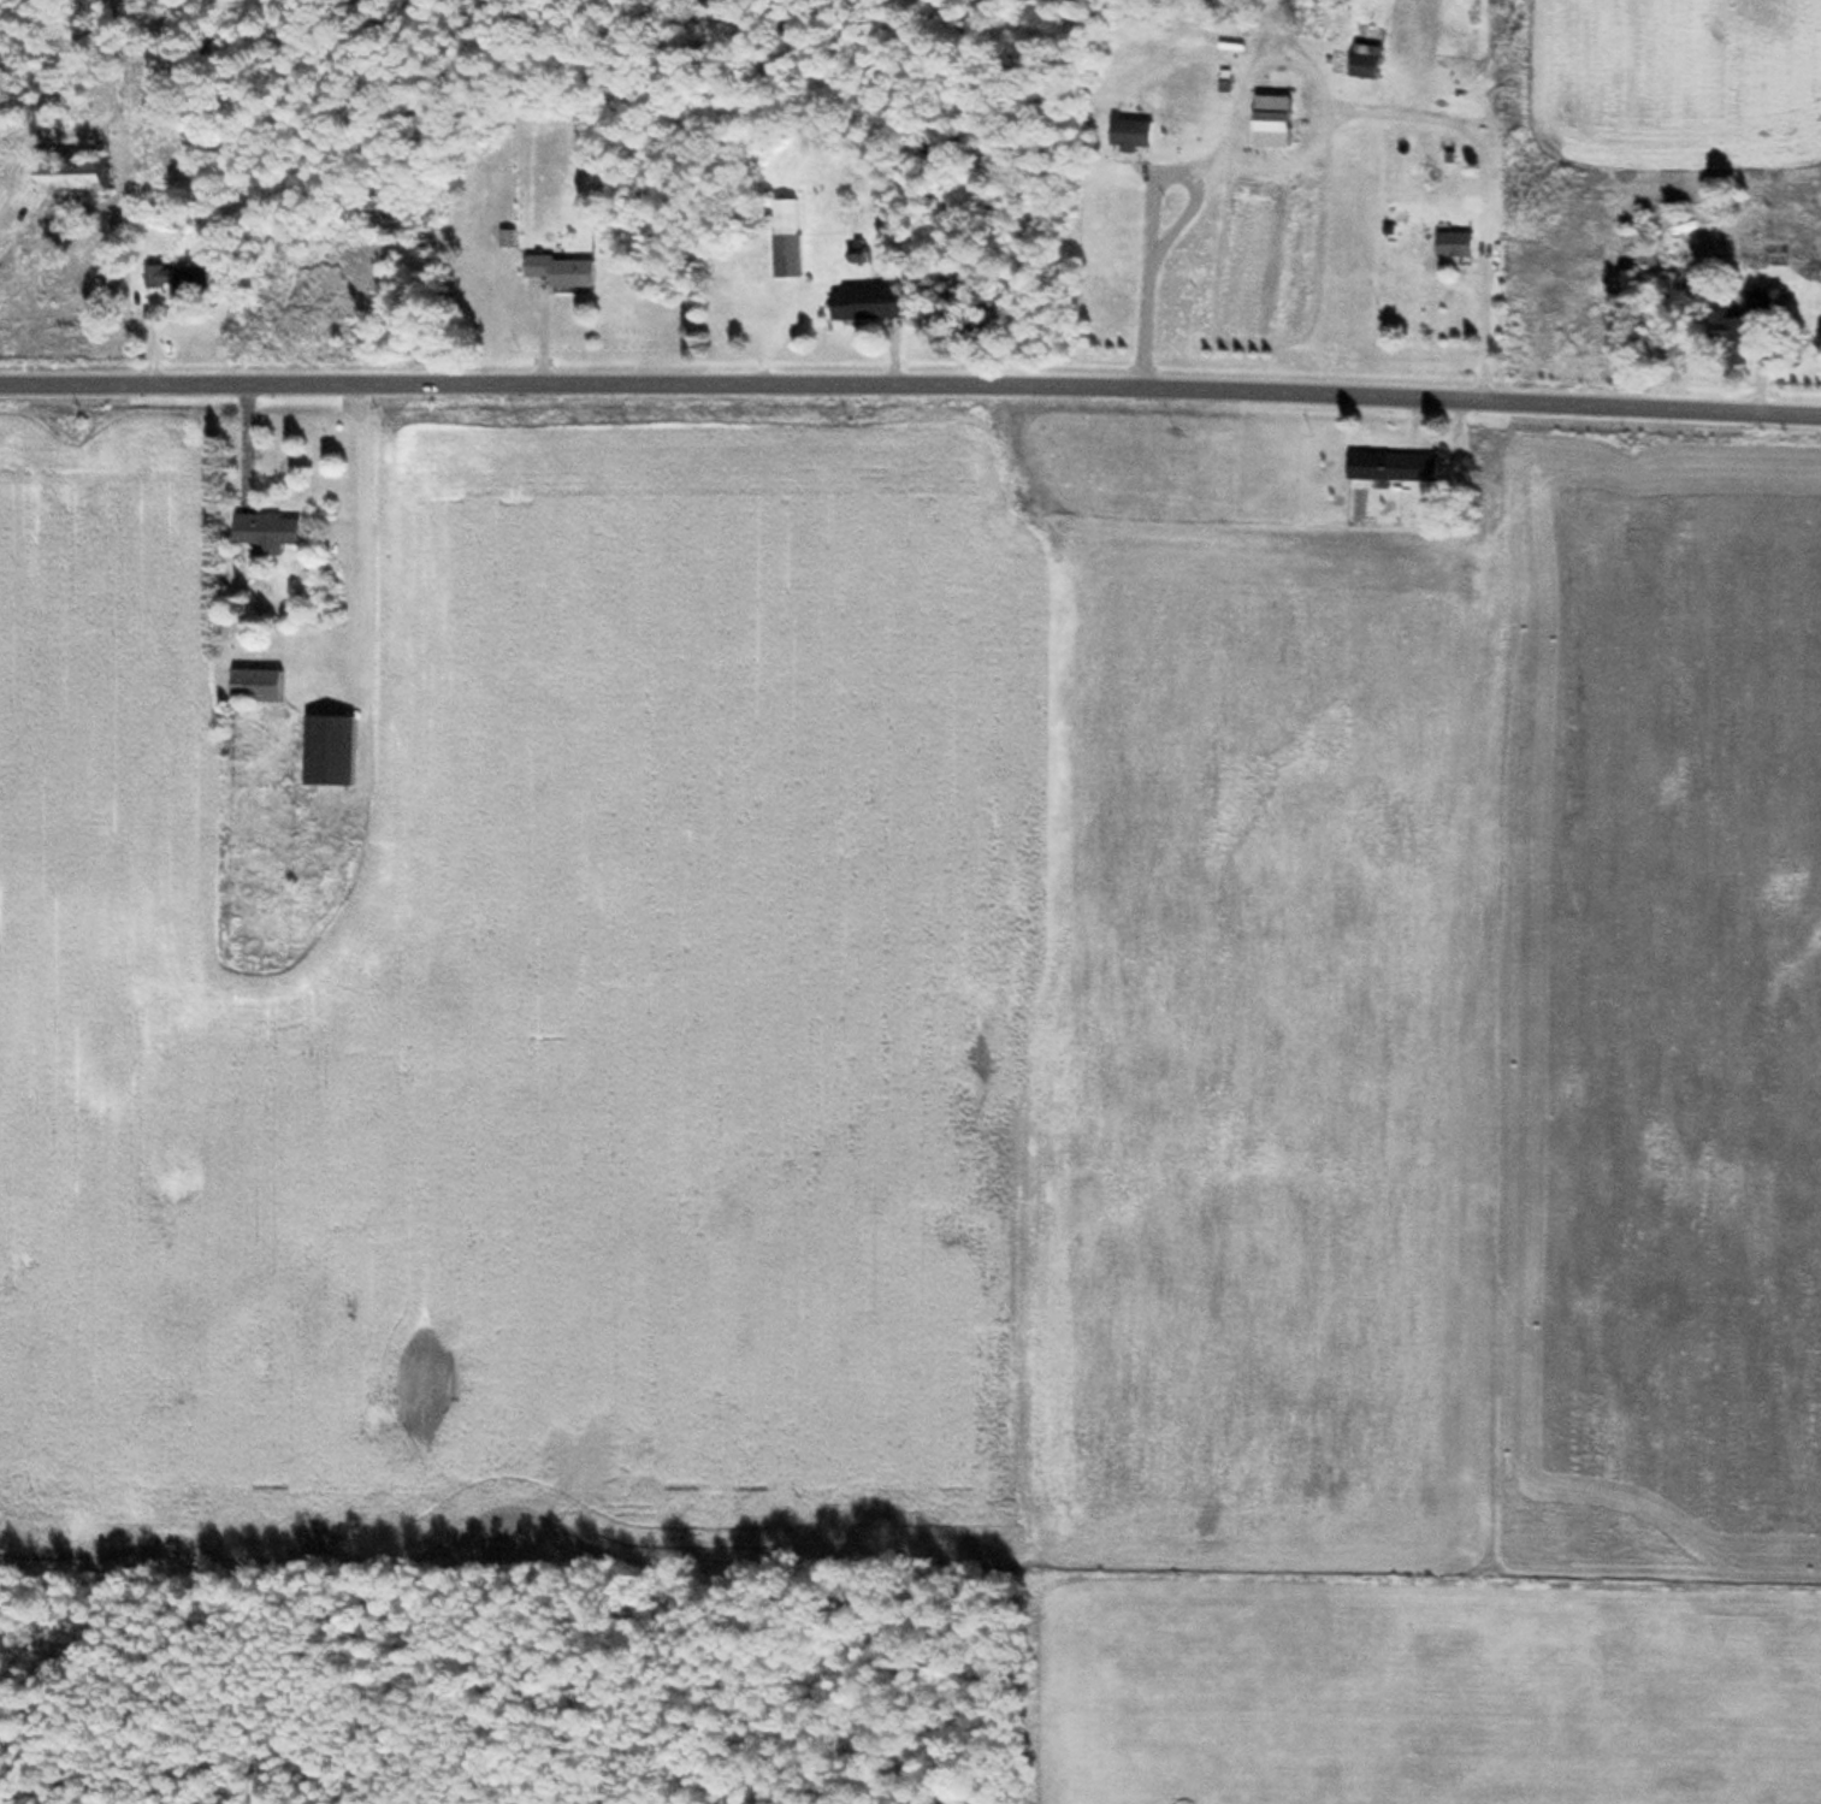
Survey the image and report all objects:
building: (1356, 64)
building: (1128, 135)
building: (67, 175)
building: (785, 238)
building: (1456, 241)
building: (558, 271)
building: (177, 280)
building: (863, 303)
building: (1716, 329)
road: (910, 390)
building: (1394, 467)
building: (264, 532)
building: (252, 686)
building: (327, 751)

